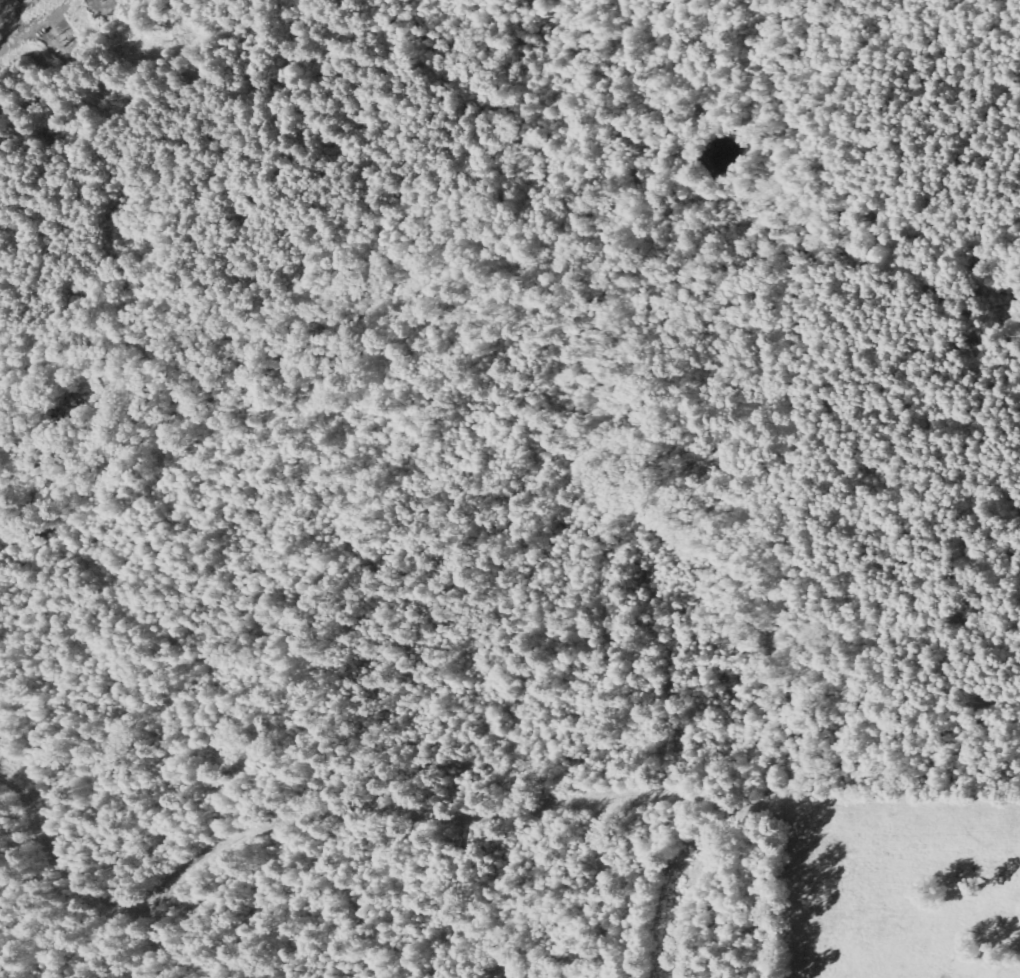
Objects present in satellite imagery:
road: (311, 816)

